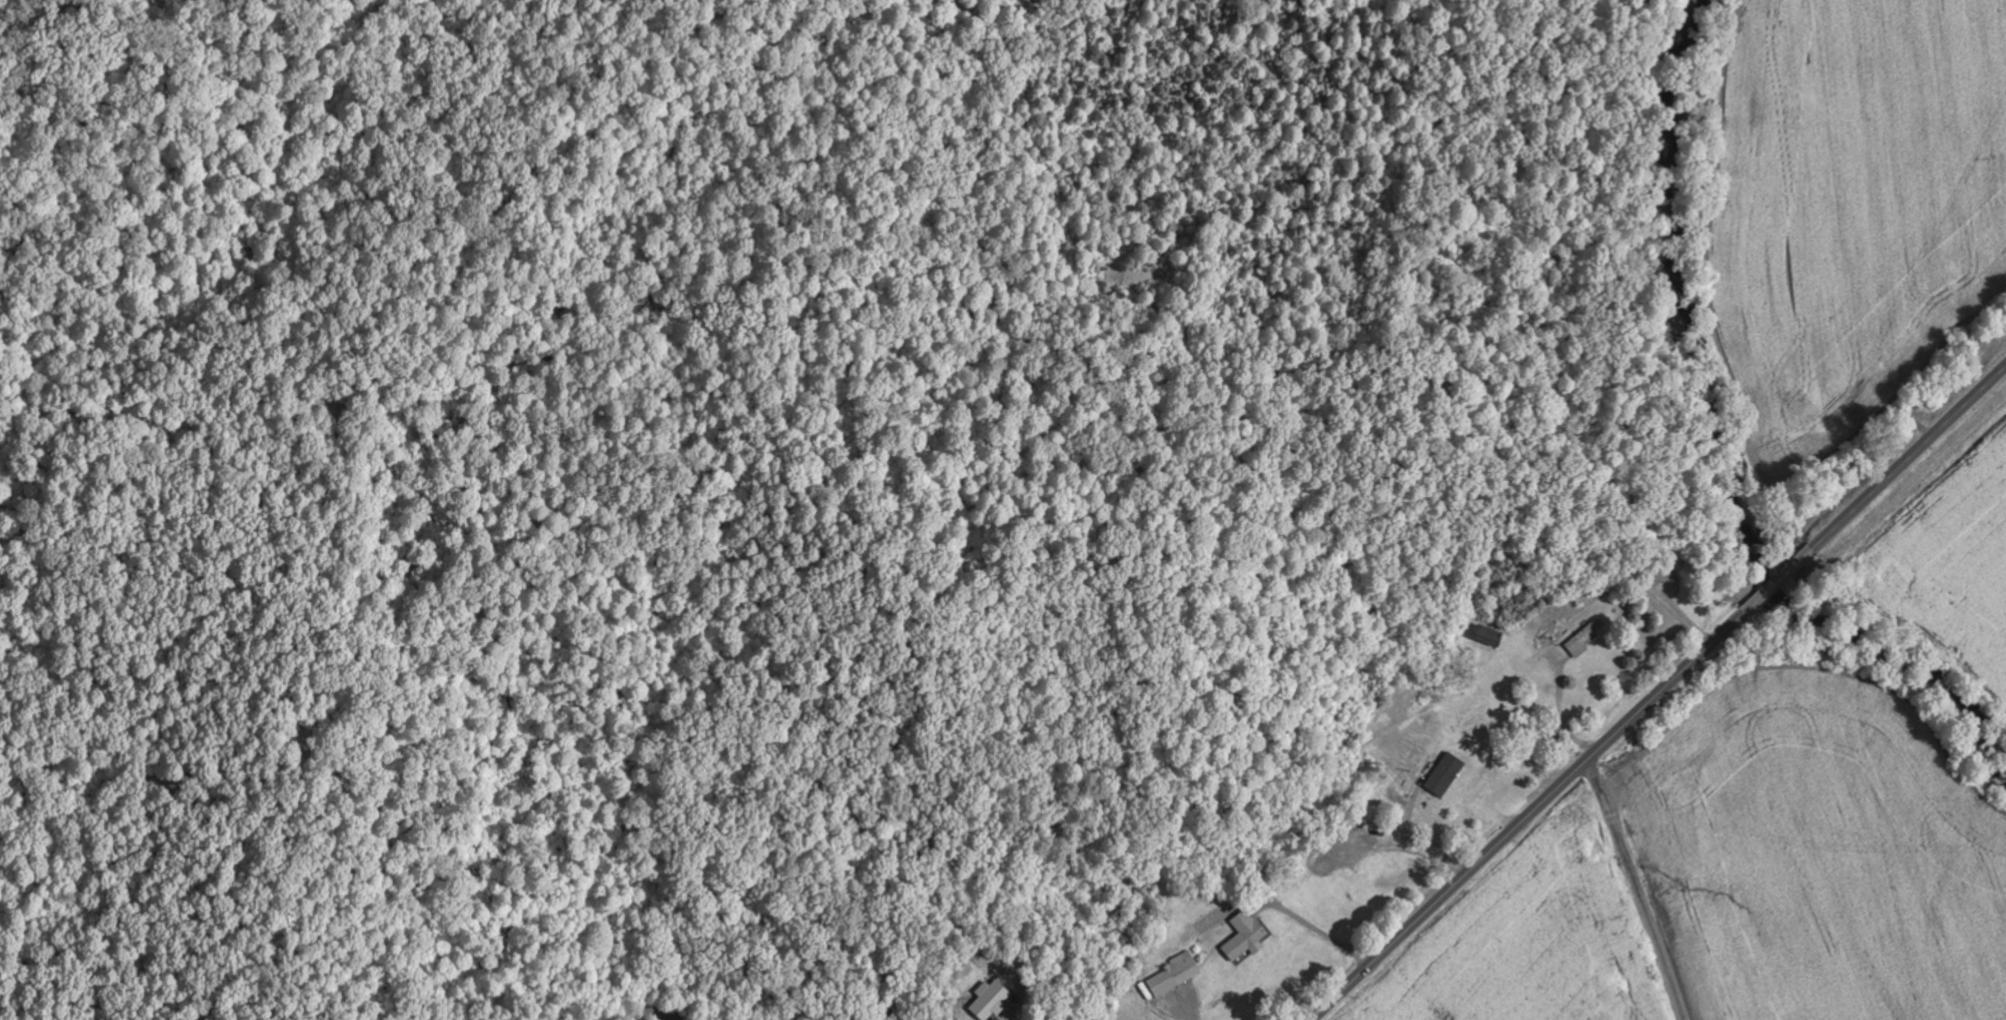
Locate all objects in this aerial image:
building: (1489, 635)
building: (1585, 638)
road: (1659, 693)
building: (1446, 774)
road: (1637, 890)
building: (1245, 936)
building: (1176, 974)
building: (992, 999)

